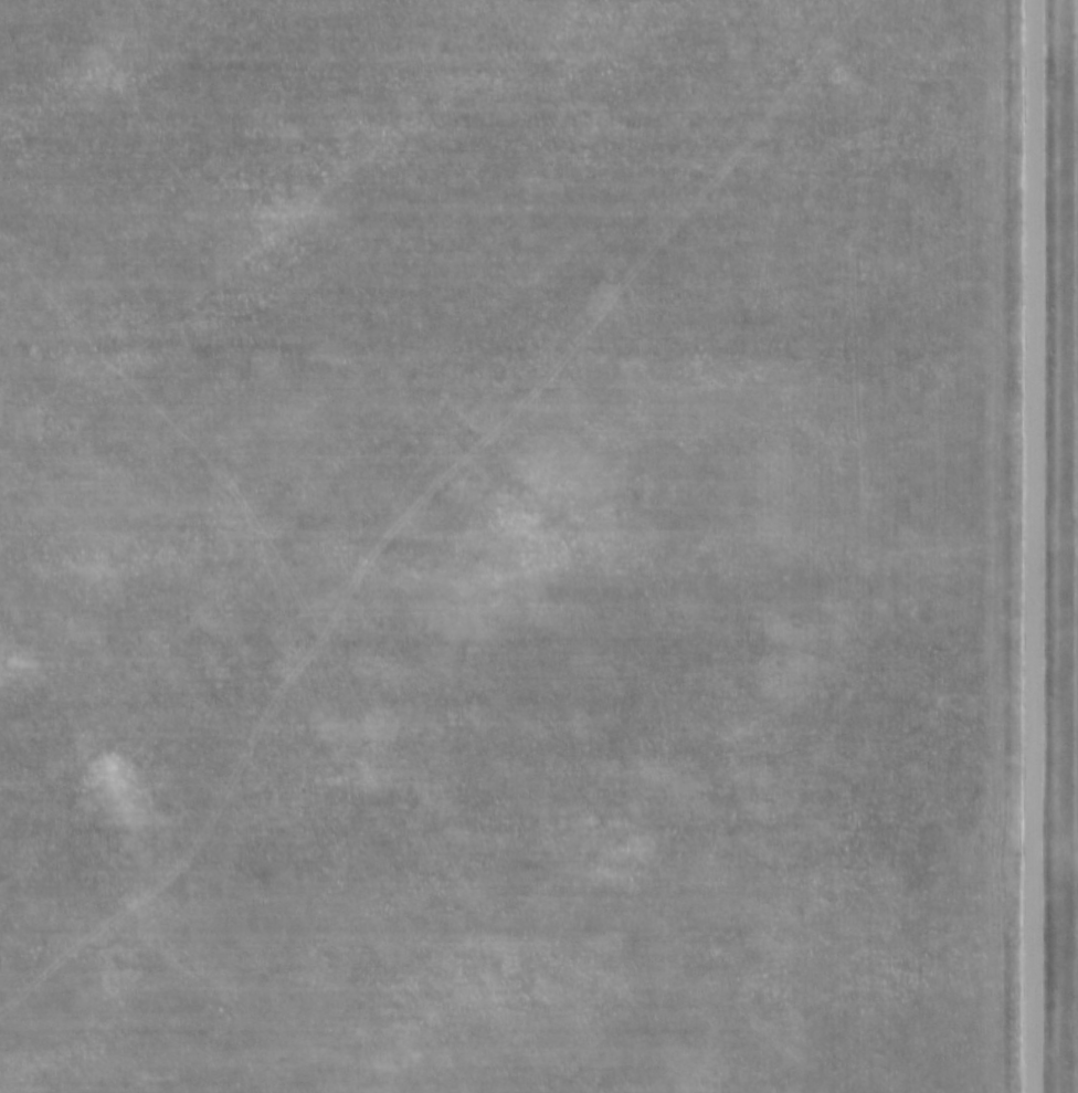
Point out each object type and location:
road: (1035, 546)

